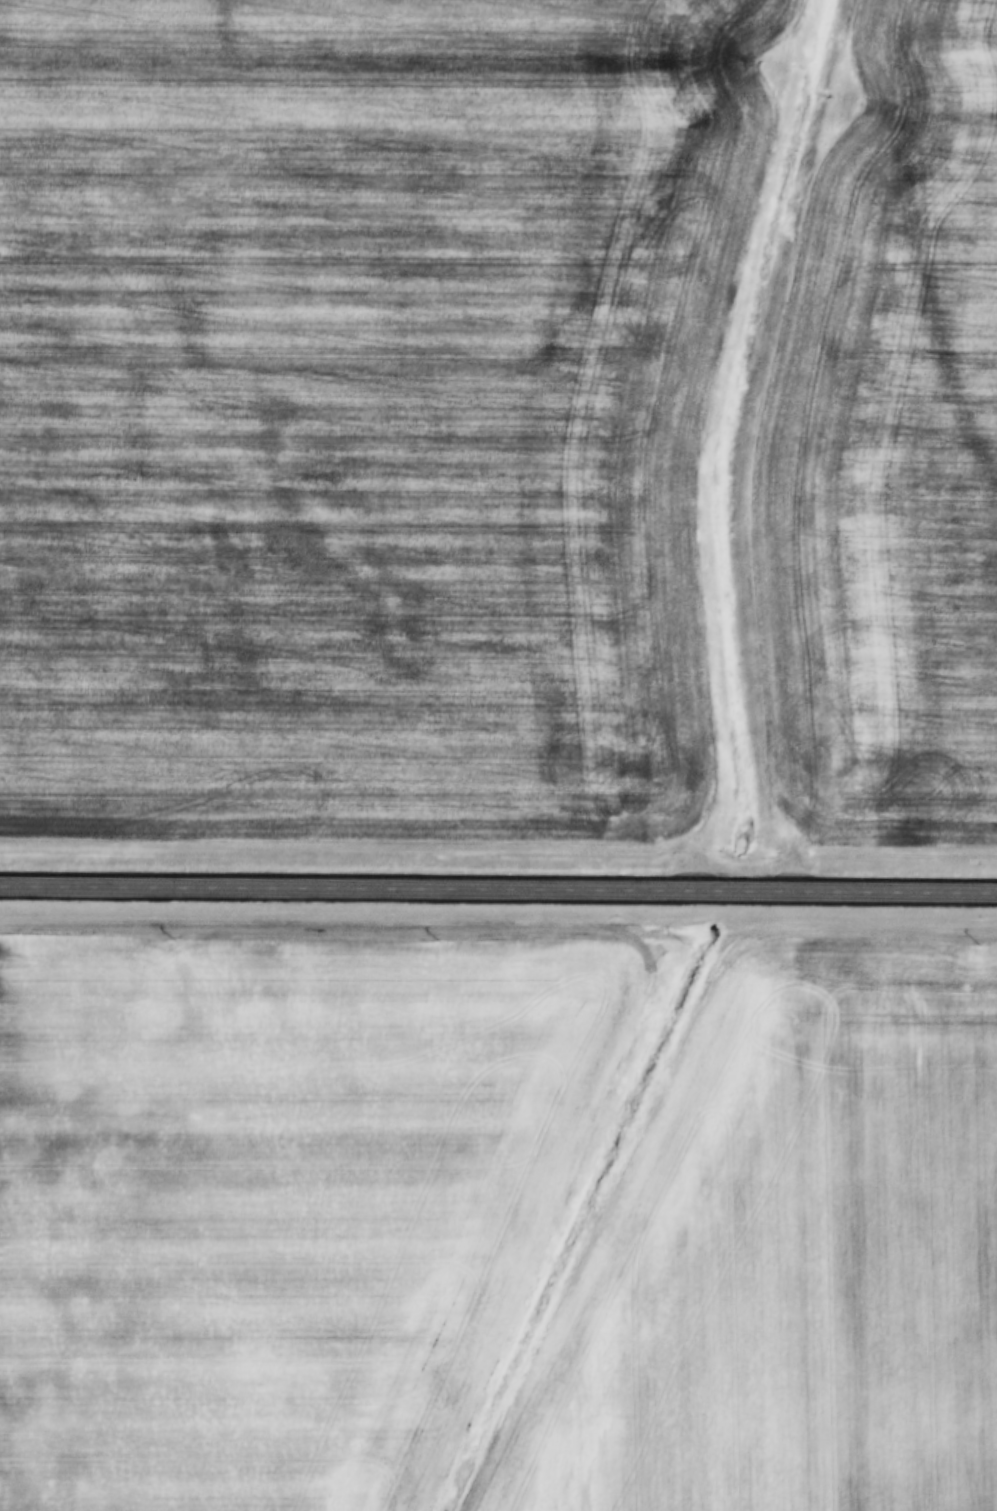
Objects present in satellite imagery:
crop: (365, 409)
crop: (891, 451)
road: (498, 891)
crop: (279, 1203)
crop: (789, 1258)

